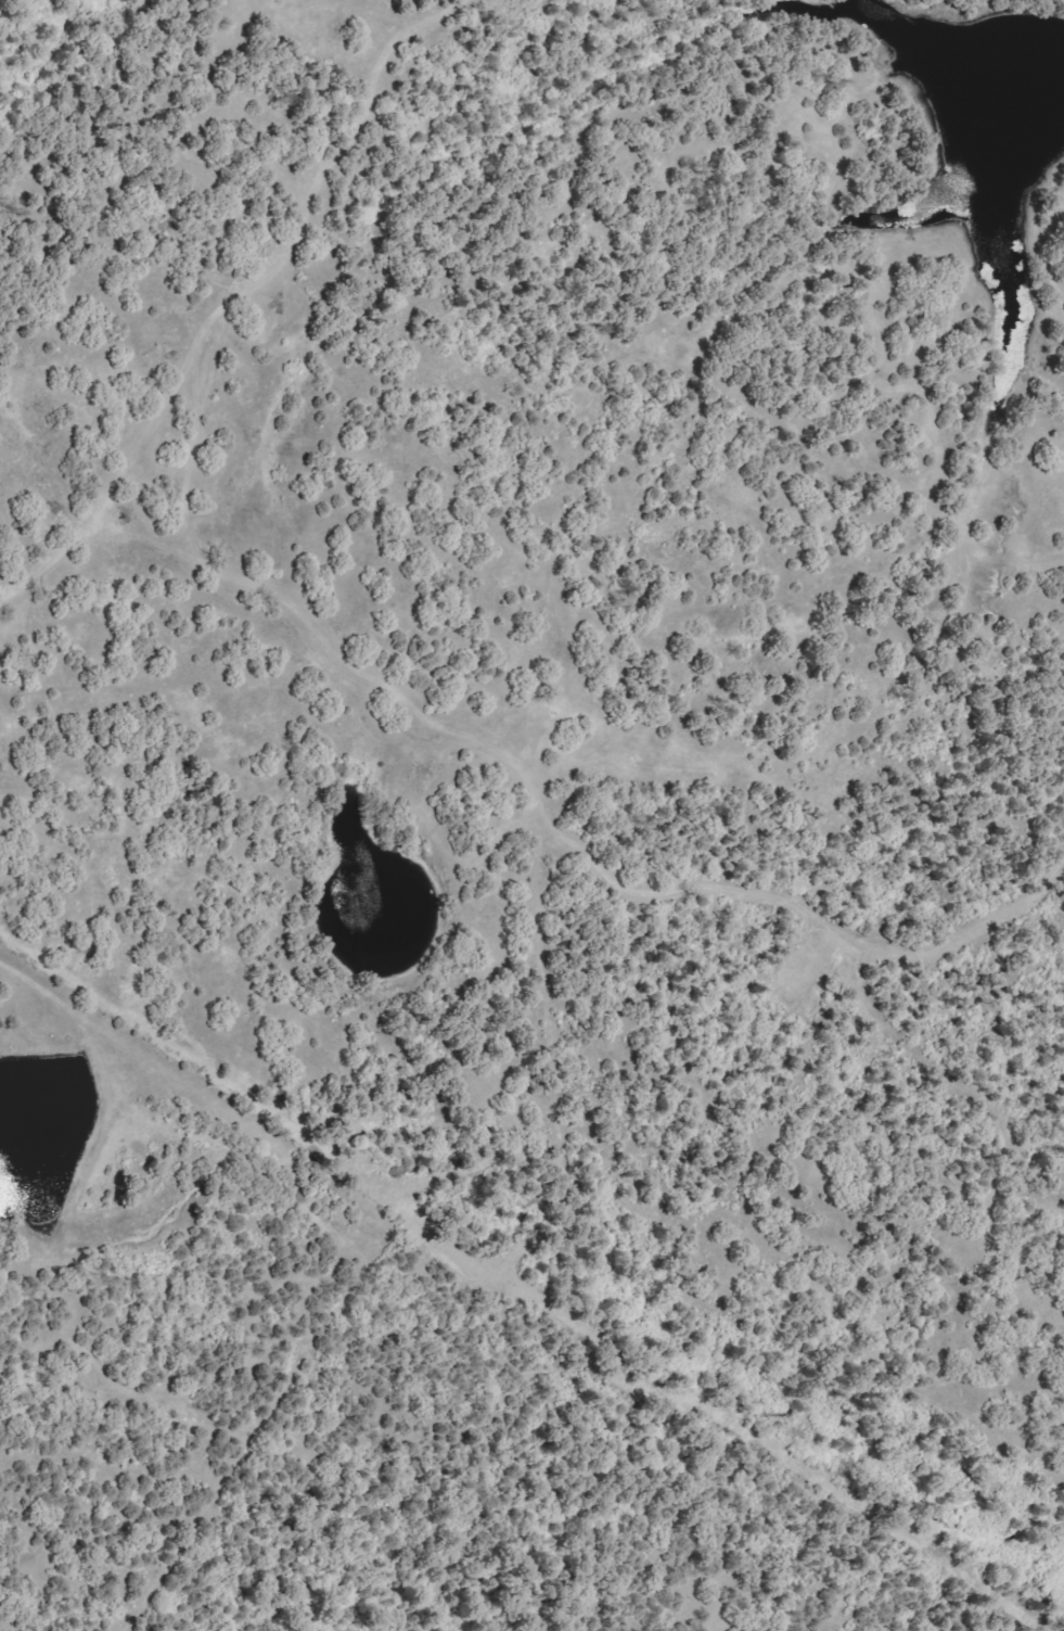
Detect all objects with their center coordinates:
road: (193, 364)

